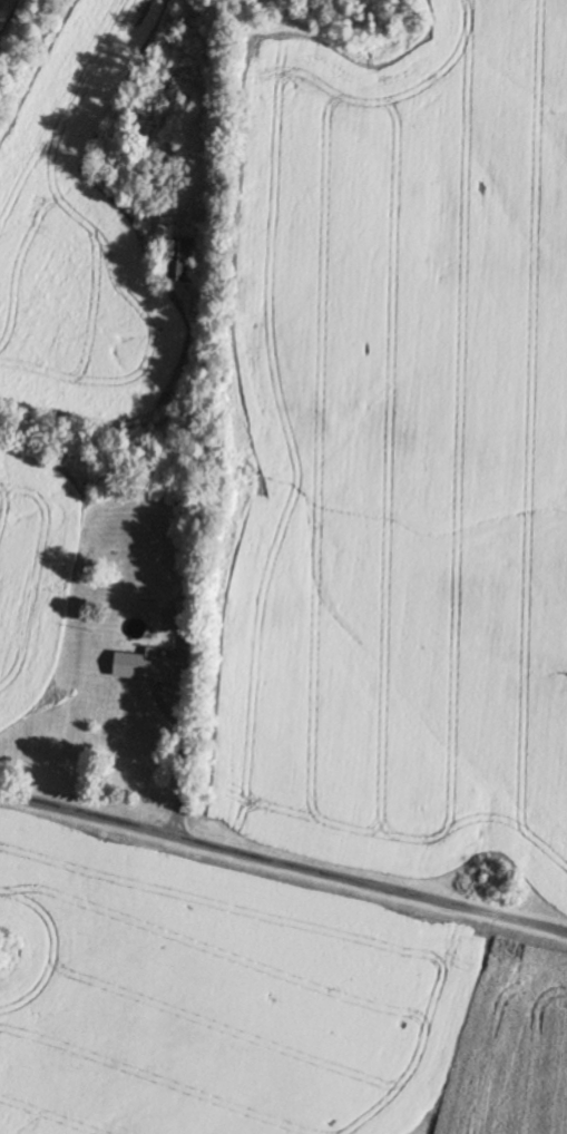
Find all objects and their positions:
building: (127, 665)
road: (283, 862)

